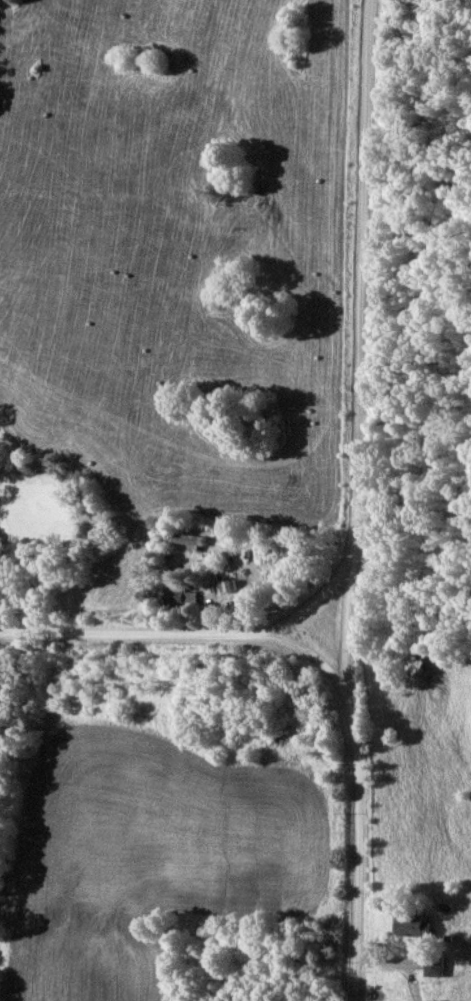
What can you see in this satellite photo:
road: (358, 335)
building: (198, 539)
building: (190, 596)
road: (312, 596)
road: (136, 632)
road: (312, 653)
road: (357, 835)
building: (411, 925)
road: (403, 958)
building: (431, 965)

